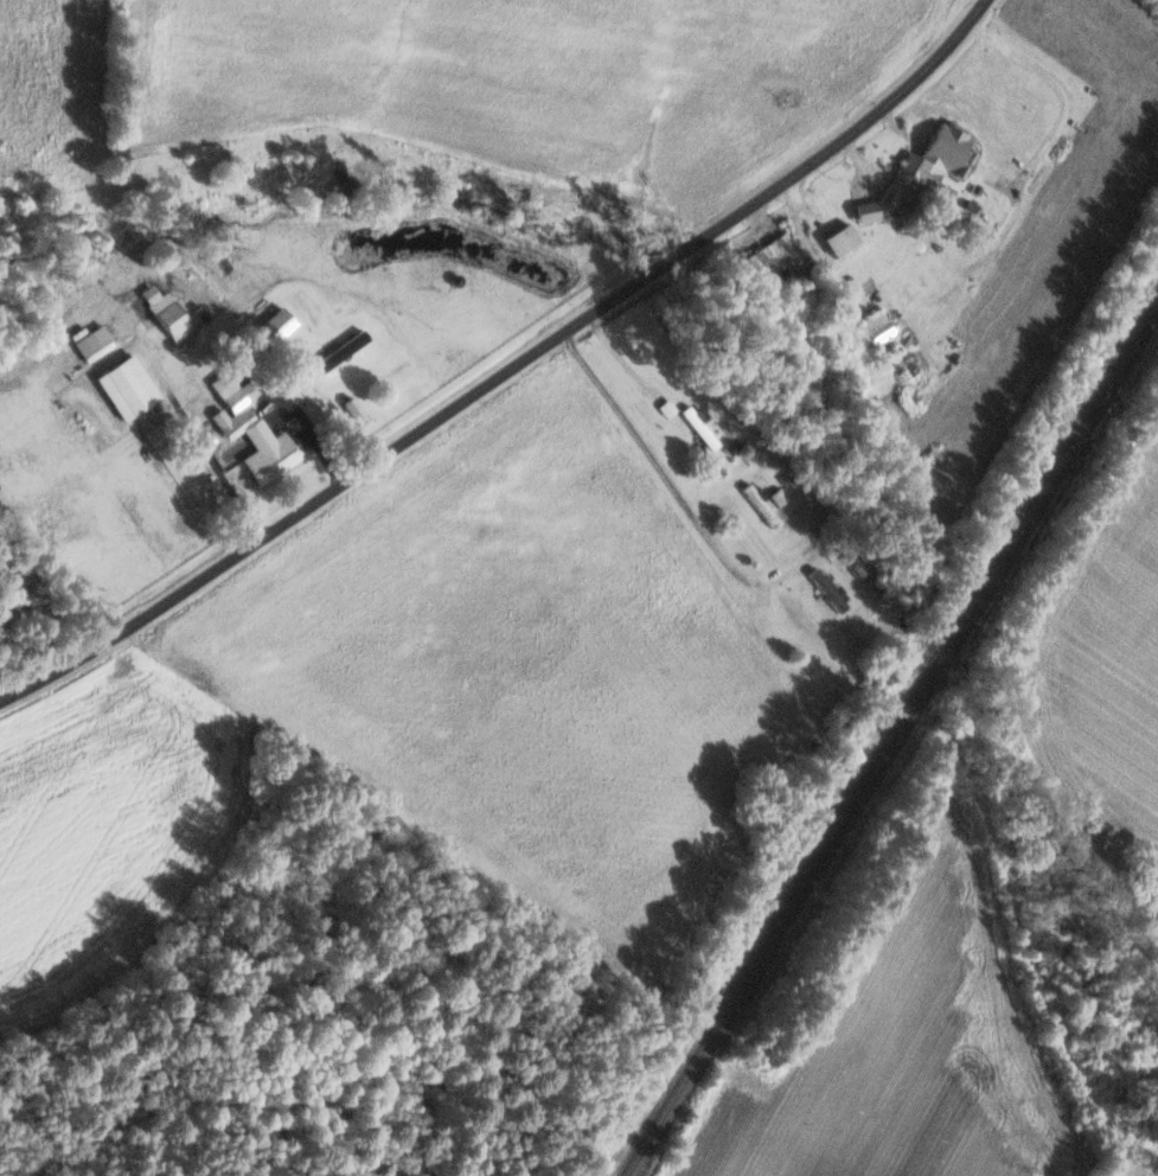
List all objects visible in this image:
building: (922, 172)
building: (844, 241)
building: (772, 257)
building: (168, 313)
building: (277, 326)
building: (876, 328)
building: (94, 343)
building: (344, 350)
building: (913, 364)
road: (508, 371)
building: (129, 388)
building: (357, 410)
building: (254, 430)
building: (780, 494)
building: (762, 504)
building: (831, 589)
railway: (891, 740)

